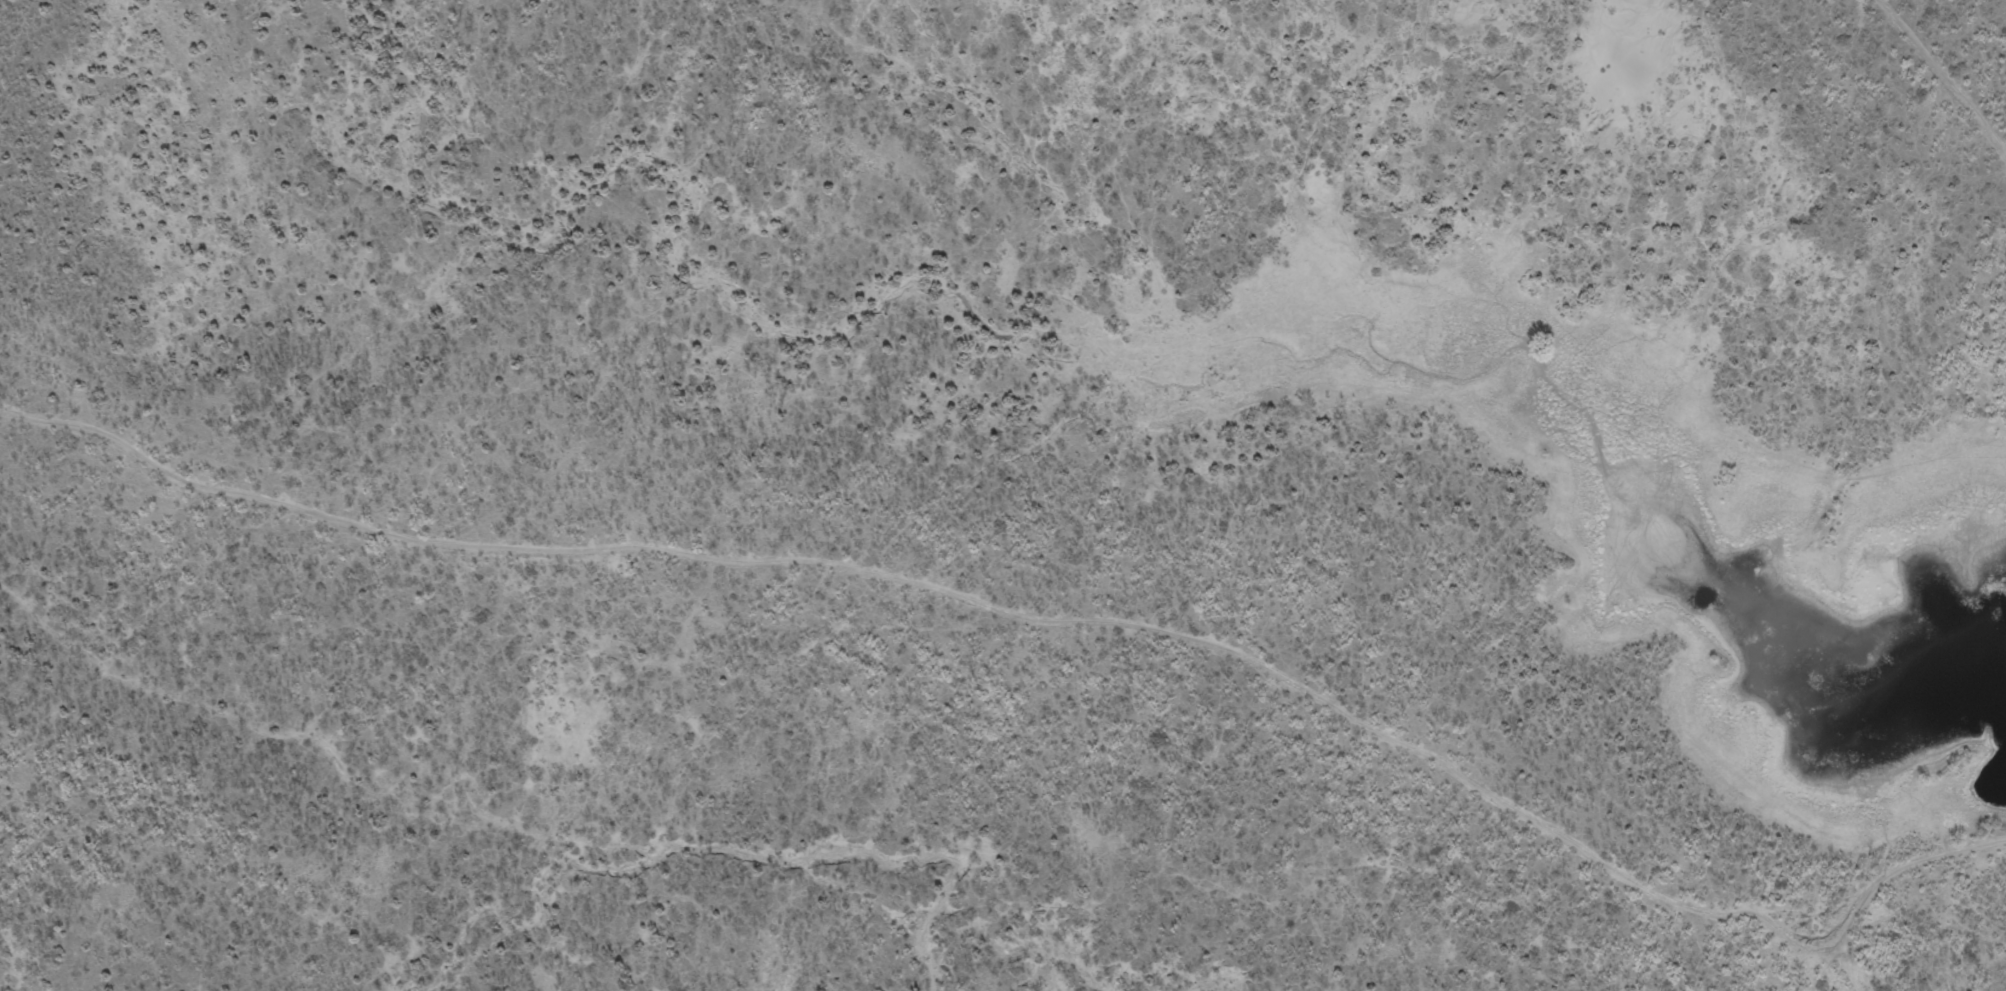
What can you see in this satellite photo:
road: (1676, 852)
road: (1886, 904)

